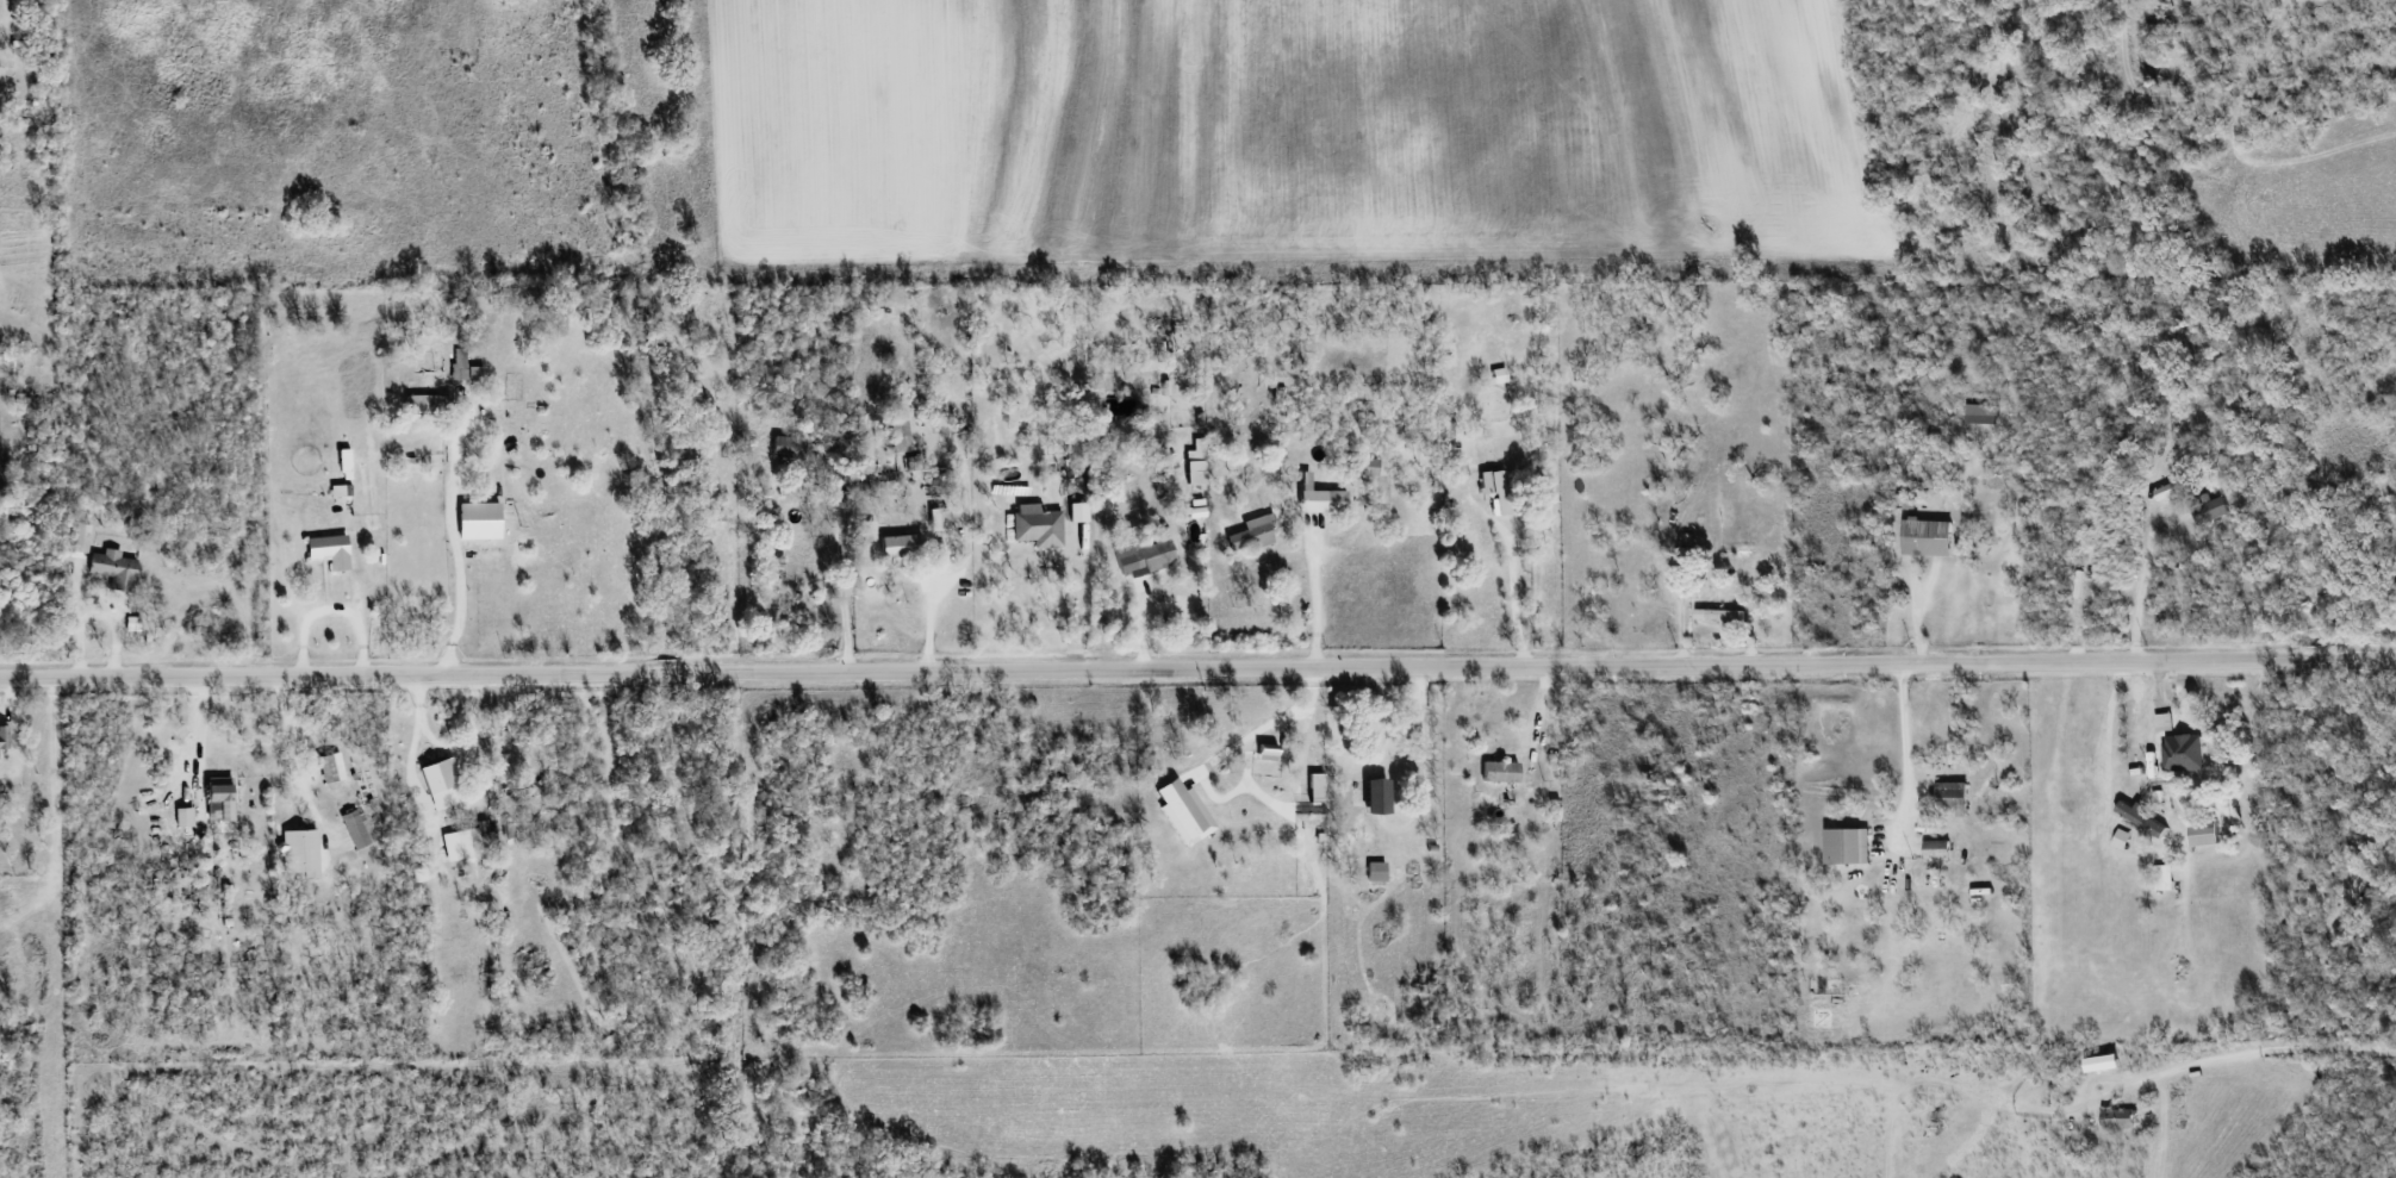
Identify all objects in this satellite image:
building: (465, 367)
building: (1499, 375)
building: (430, 404)
building: (1983, 413)
building: (900, 435)
building: (788, 448)
building: (1077, 448)
building: (1196, 462)
building: (1363, 466)
building: (1458, 467)
building: (2174, 487)
building: (1495, 491)
building: (1320, 498)
building: (1196, 509)
building: (2210, 511)
building: (1079, 512)
building: (939, 518)
building: (480, 521)
building: (1038, 525)
building: (1252, 532)
building: (1929, 537)
building: (81, 538)
road: (459, 544)
building: (902, 548)
building: (330, 550)
building: (1145, 557)
road: (845, 560)
building: (114, 568)
road: (2137, 591)
road: (1317, 593)
road: (1084, 599)
road: (1508, 606)
road: (330, 610)
building: (1720, 613)
building: (131, 624)
road: (1197, 667)
building: (2166, 721)
road: (1267, 723)
road: (199, 725)
building: (4, 737)
road: (292, 748)
road: (1902, 748)
road: (449, 750)
building: (2184, 752)
building: (1268, 754)
road: (1425, 763)
building: (331, 768)
building: (1500, 772)
road: (412, 773)
building: (442, 784)
building: (1317, 787)
building: (1379, 796)
building: (1954, 796)
building: (220, 798)
building: (1184, 812)
building: (2140, 816)
building: (185, 817)
building: (359, 829)
building: (2207, 834)
building: (2123, 839)
building: (473, 840)
building: (1849, 846)
building: (1938, 848)
building: (300, 853)
building: (1376, 872)
building: (2165, 877)
road: (2227, 1053)
building: (2105, 1061)
building: (2120, 1117)

